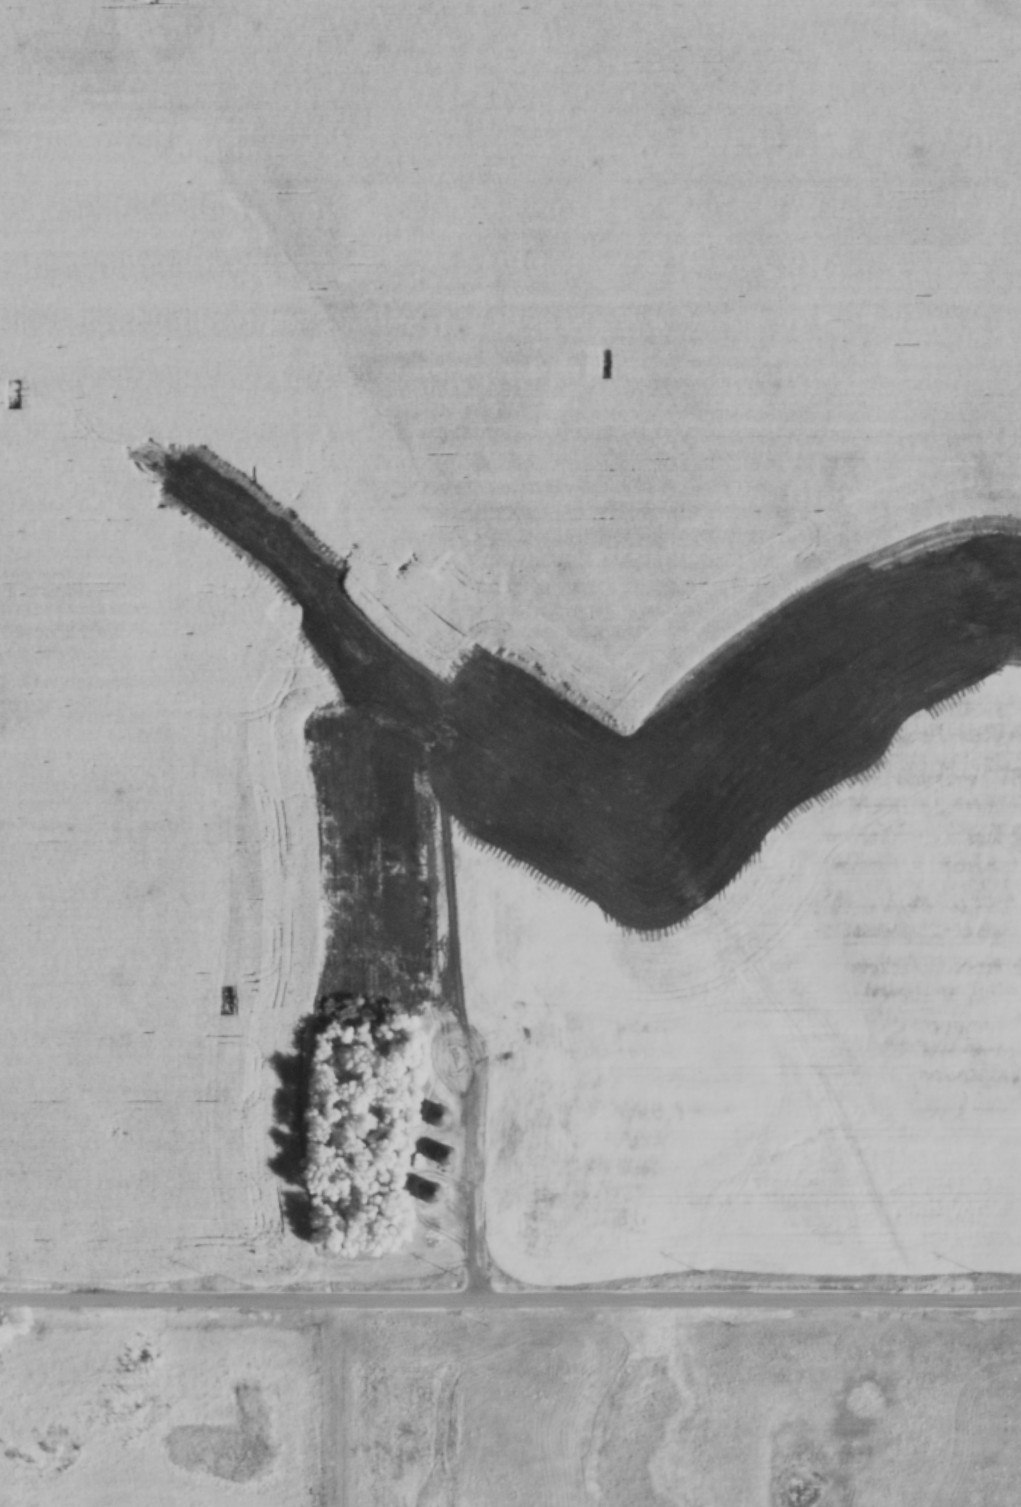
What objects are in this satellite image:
building: (440, 1115)
building: (444, 1155)
road: (473, 1181)
building: (433, 1192)
road: (510, 1297)

